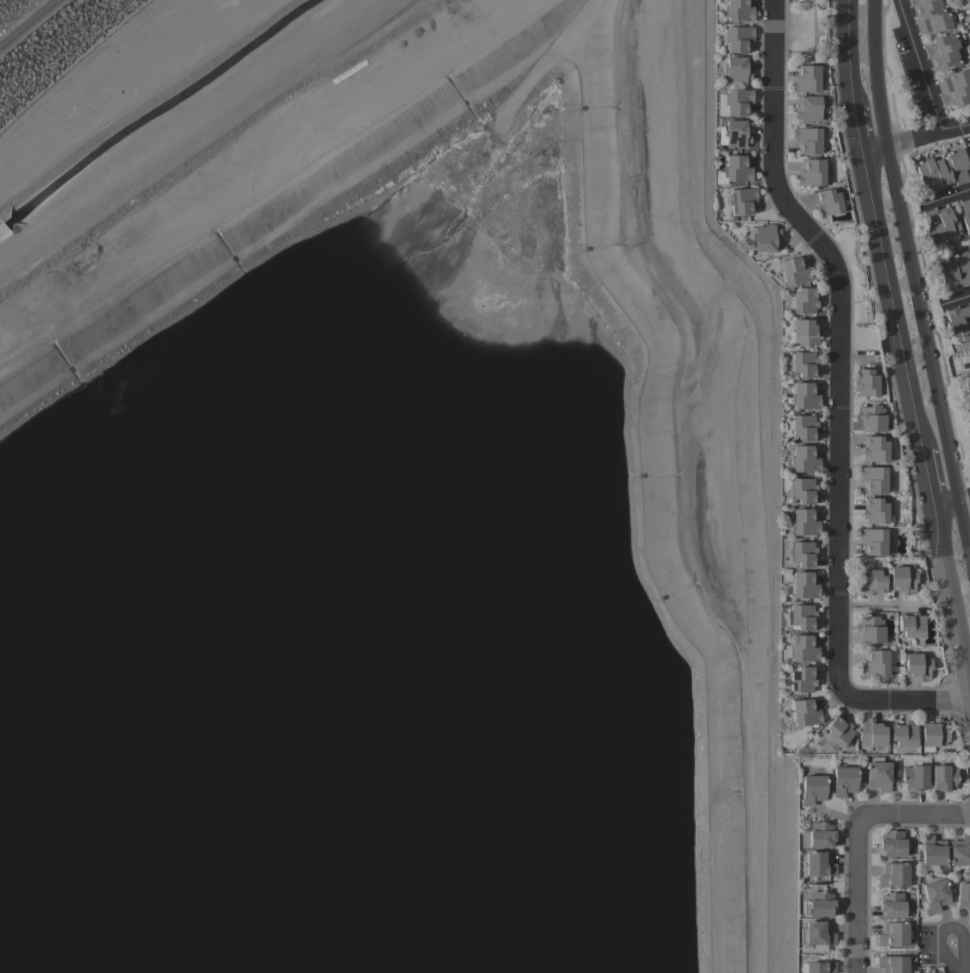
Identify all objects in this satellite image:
building: (968, 8)
building: (738, 10)
building: (929, 15)
road: (27, 22)
building: (969, 28)
building: (737, 38)
road: (873, 46)
building: (942, 51)
road: (917, 64)
building: (736, 69)
building: (806, 79)
building: (955, 88)
building: (737, 101)
building: (808, 108)
road: (880, 119)
road: (188, 130)
road: (927, 132)
building: (736, 133)
building: (807, 140)
building: (736, 168)
building: (942, 170)
building: (812, 172)
road: (945, 198)
building: (740, 200)
building: (829, 202)
building: (965, 215)
building: (939, 224)
building: (764, 238)
building: (954, 270)
building: (793, 271)
road: (915, 292)
building: (804, 300)
road: (956, 300)
building: (958, 323)
building: (803, 332)
road: (902, 334)
building: (964, 361)
building: (803, 363)
building: (866, 382)
building: (805, 396)
road: (840, 402)
building: (871, 417)
building: (800, 426)
building: (875, 448)
building: (804, 459)
road: (951, 467)
building: (874, 479)
building: (802, 490)
road: (963, 496)
building: (874, 511)
building: (803, 522)
road: (963, 527)
building: (873, 541)
building: (802, 553)
road: (969, 559)
building: (902, 579)
building: (871, 581)
building: (803, 585)
road: (878, 606)
building: (802, 616)
building: (910, 624)
building: (870, 629)
building: (801, 649)
building: (874, 663)
building: (917, 666)
building: (802, 679)
building: (805, 713)
building: (933, 732)
building: (837, 733)
building: (871, 733)
building: (903, 734)
building: (878, 775)
building: (914, 777)
building: (943, 777)
building: (843, 780)
building: (812, 789)
building: (820, 834)
road: (853, 840)
building: (892, 843)
building: (959, 851)
building: (932, 852)
building: (818, 863)
building: (893, 875)
building: (935, 894)
building: (963, 895)
building: (818, 904)
building: (891, 905)
road: (952, 929)
building: (816, 933)
building: (893, 934)
building: (892, 964)
building: (817, 967)
road: (959, 972)

